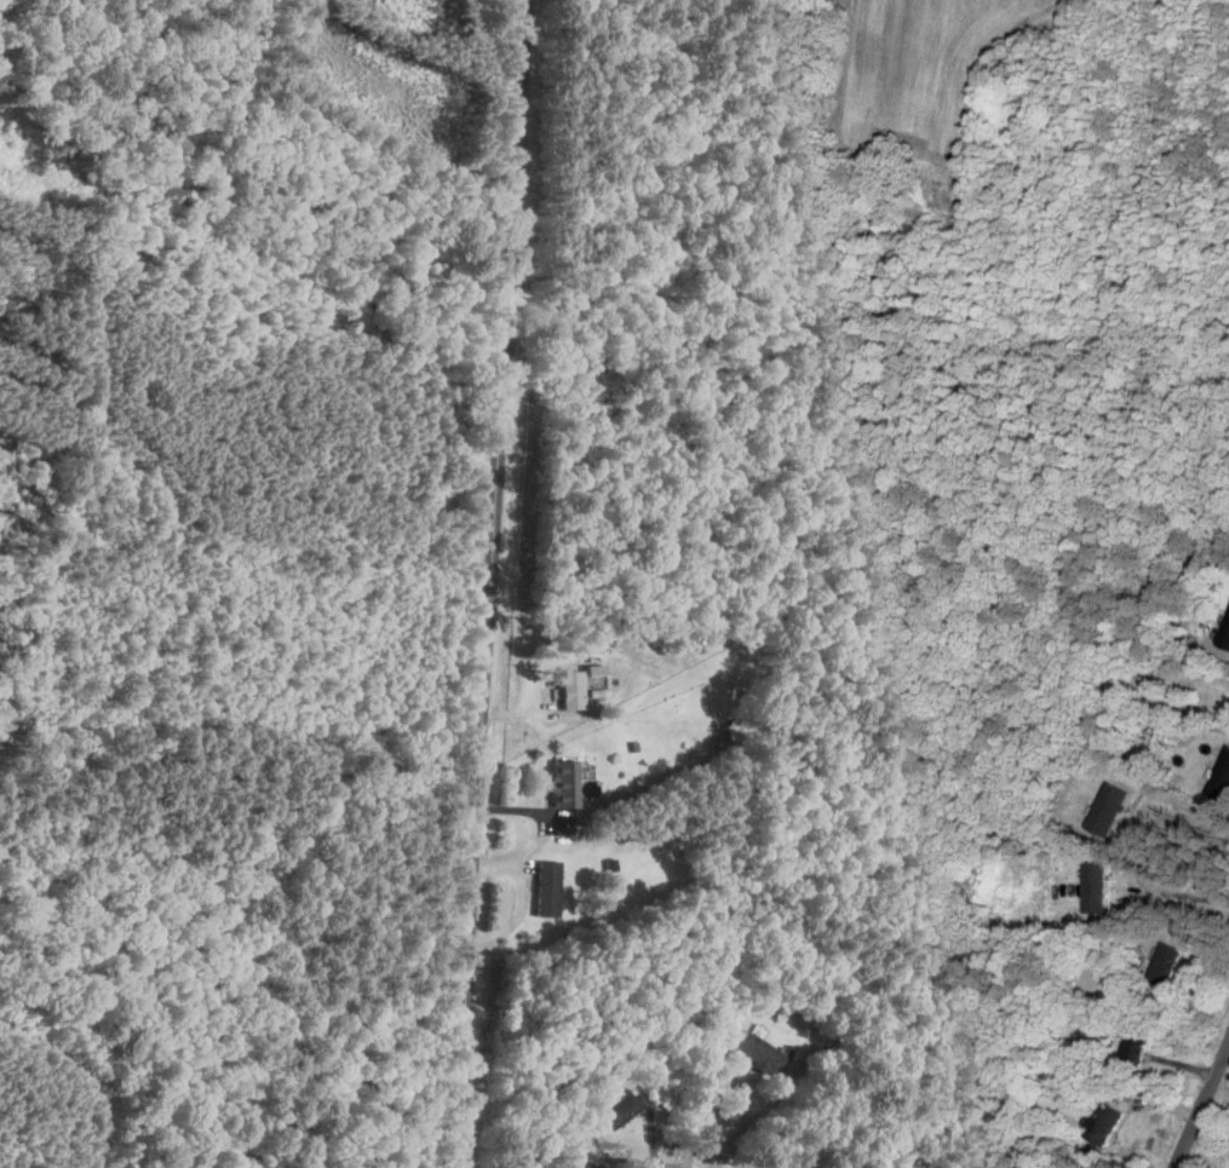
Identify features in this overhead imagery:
road: (492, 583)
building: (1224, 633)
road: (1221, 650)
building: (595, 678)
building: (569, 690)
building: (559, 783)
road: (1185, 811)
building: (1095, 884)
building: (545, 888)
road: (1188, 890)
building: (1164, 963)
building: (1133, 1048)
building: (756, 1053)
road: (1202, 1107)
building: (619, 1110)
road: (701, 1114)
building: (1105, 1123)

